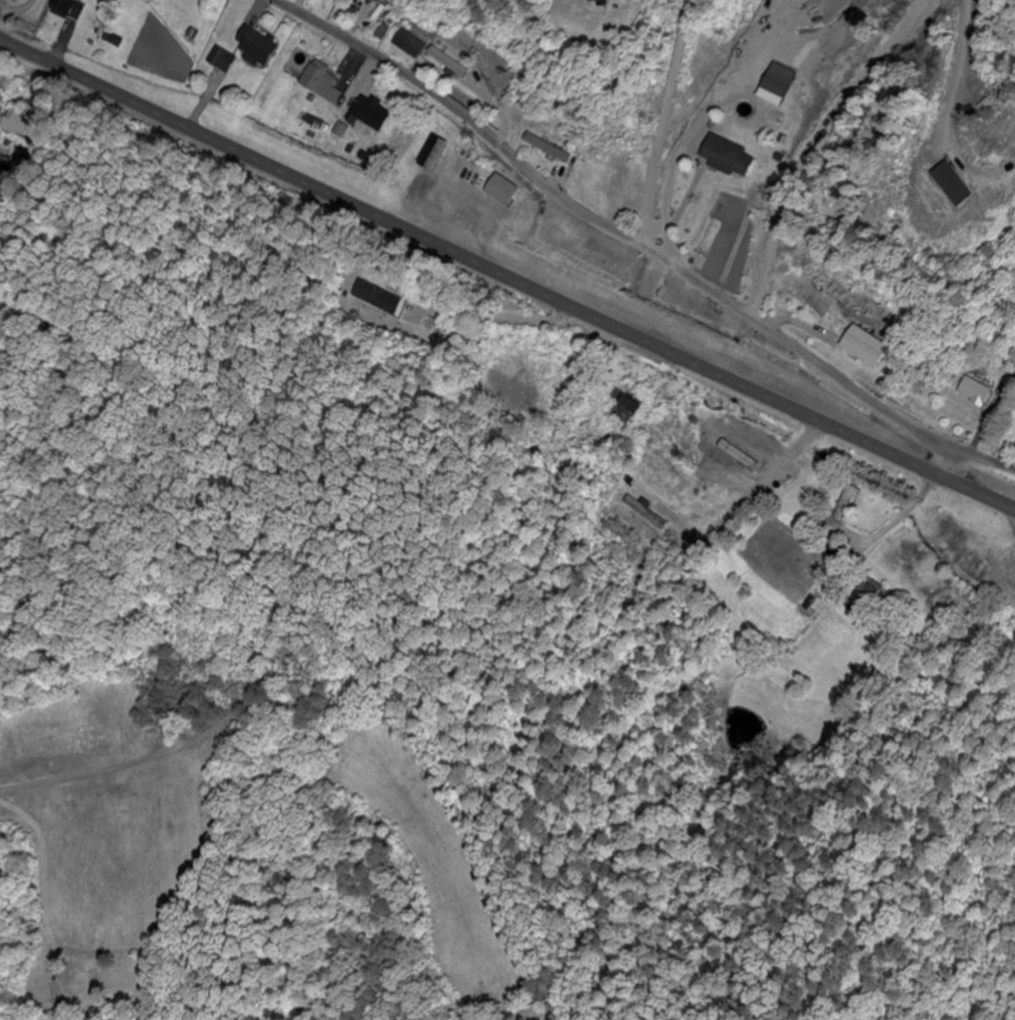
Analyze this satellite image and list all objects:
building: (345, 0)
building: (372, 1)
building: (602, 2)
building: (67, 11)
building: (407, 45)
building: (255, 48)
building: (222, 62)
building: (446, 63)
building: (776, 81)
building: (320, 85)
building: (371, 115)
building: (18, 123)
building: (546, 150)
building: (726, 158)
building: (501, 190)
road: (636, 246)
road: (506, 278)
building: (862, 347)
building: (973, 392)
building: (627, 408)
building: (749, 452)
road: (939, 459)
building: (849, 495)
building: (653, 518)
building: (833, 549)
building: (870, 591)

